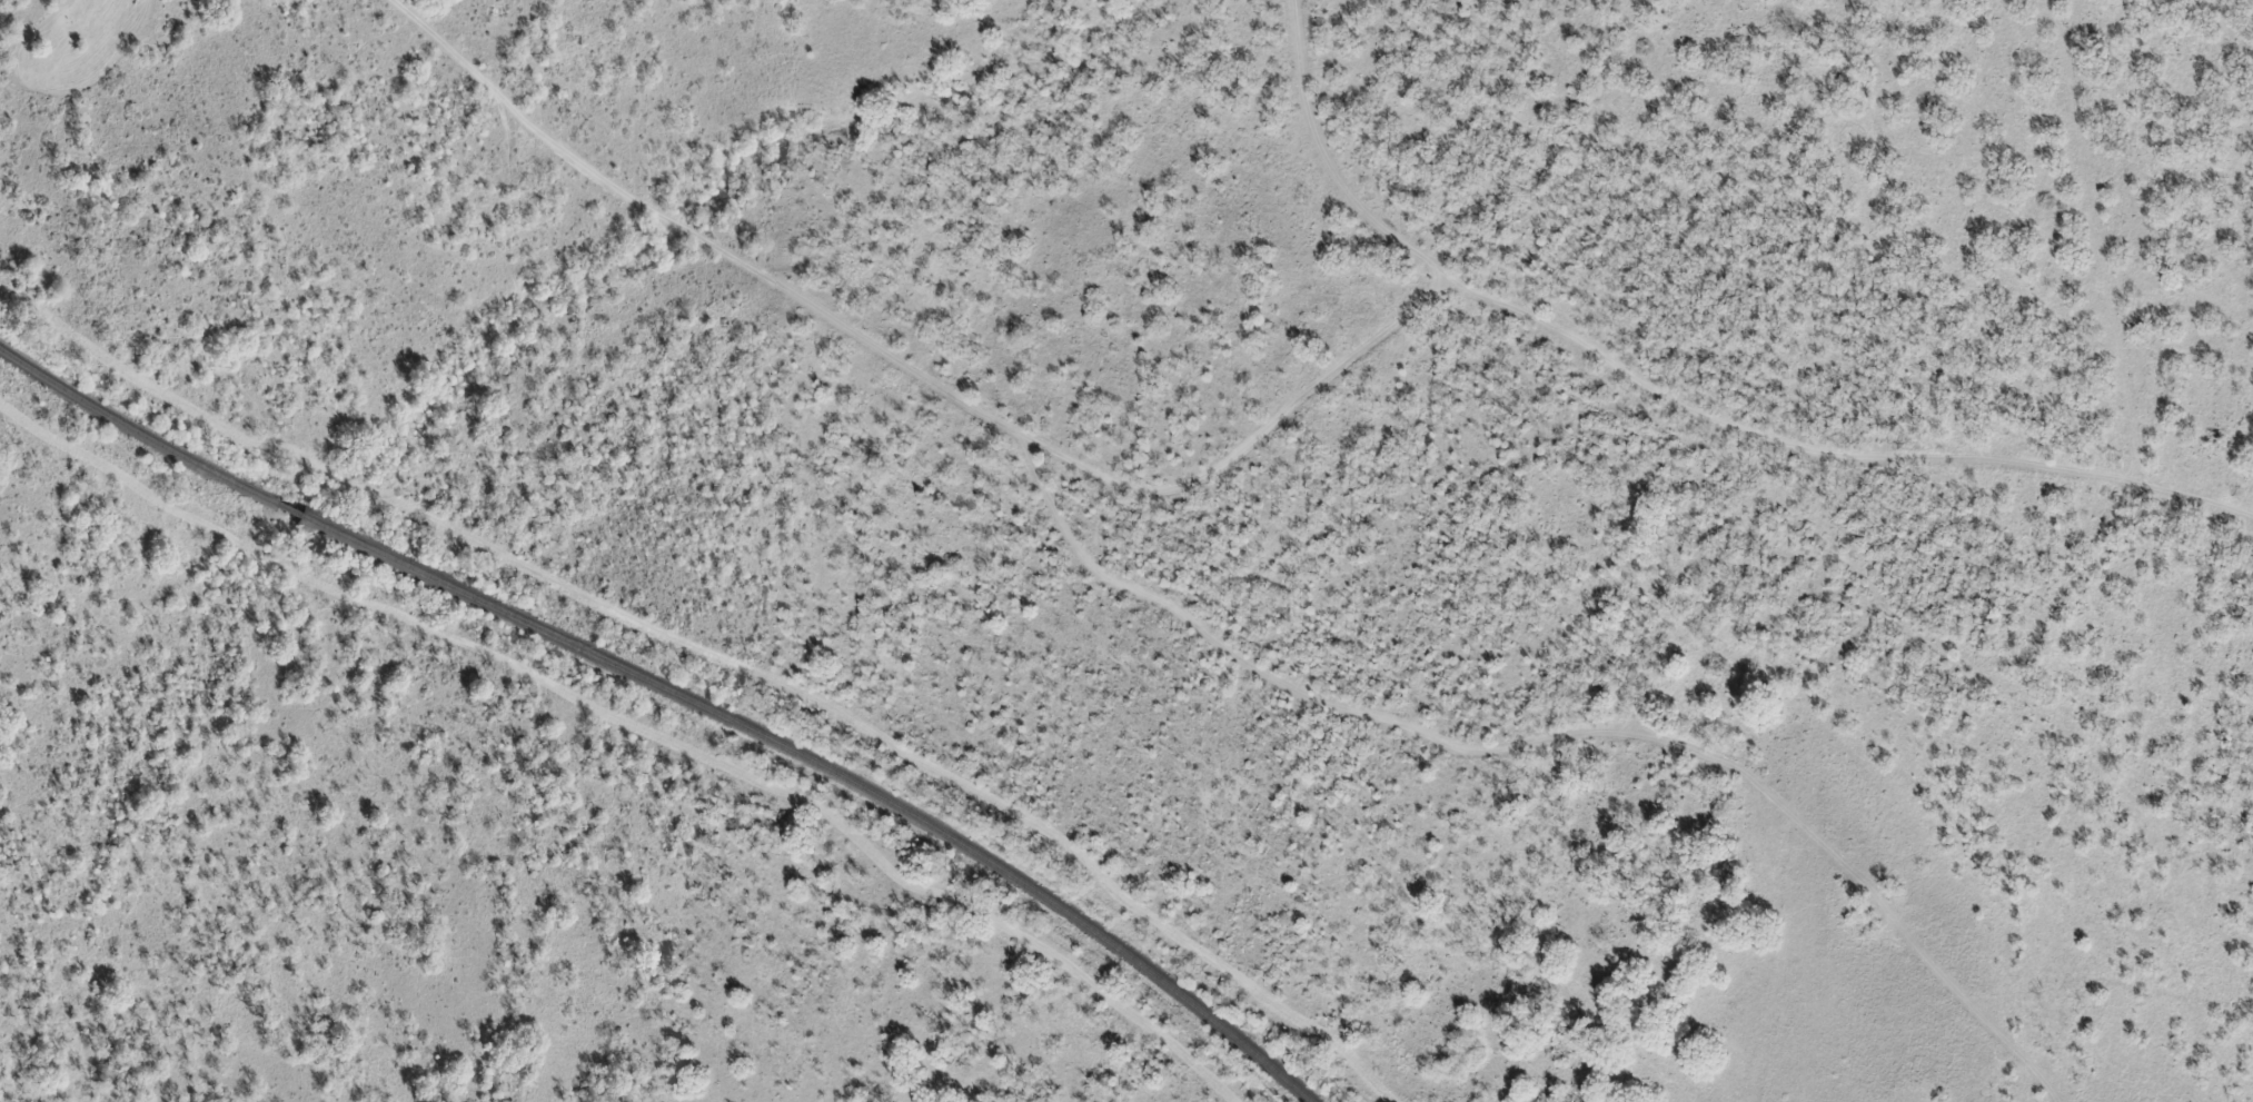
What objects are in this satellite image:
railway: (675, 693)

